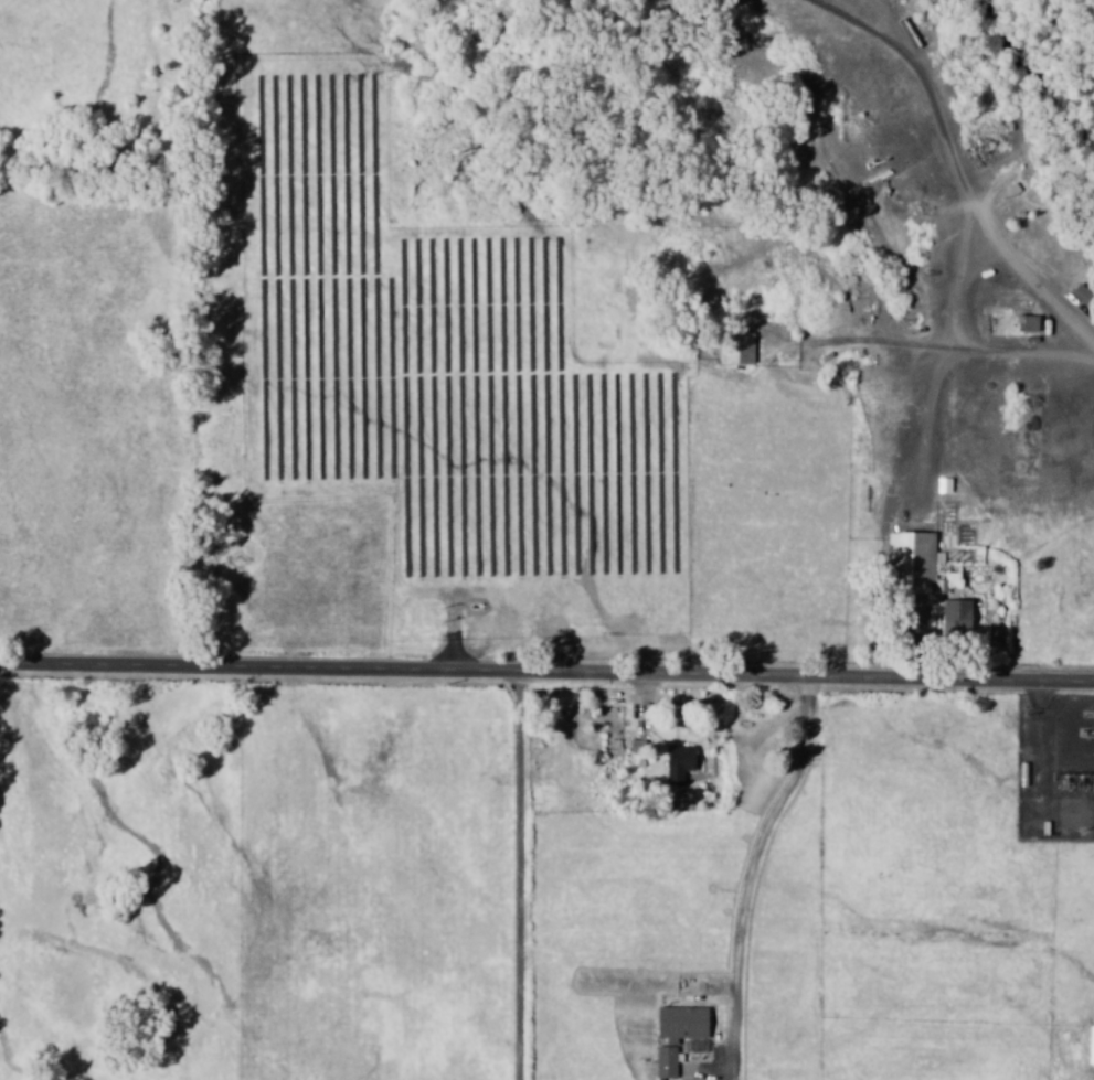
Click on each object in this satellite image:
road: (974, 177)
building: (1084, 296)
building: (1029, 323)
building: (739, 347)
building: (945, 485)
building: (914, 557)
building: (958, 617)
road: (546, 671)
building: (680, 762)
road: (523, 875)
building: (678, 1035)
building: (1092, 1046)

